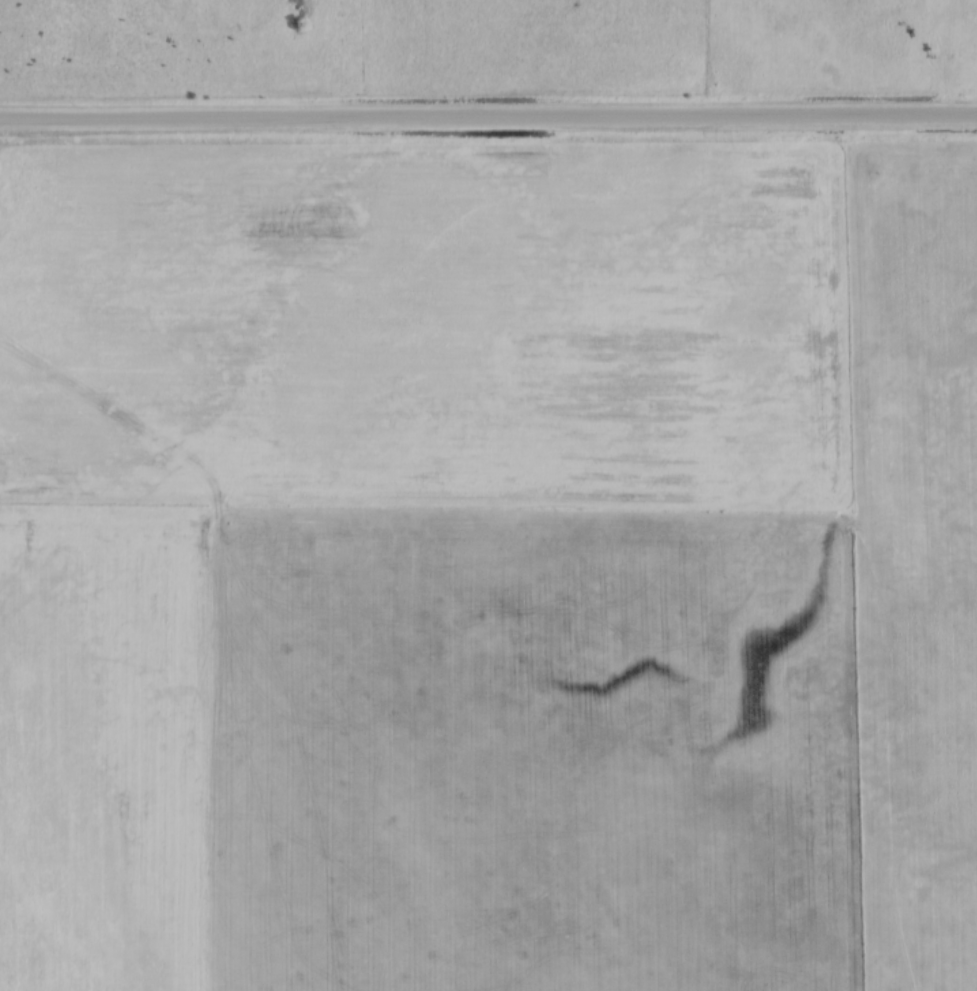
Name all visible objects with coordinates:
road: (488, 118)

